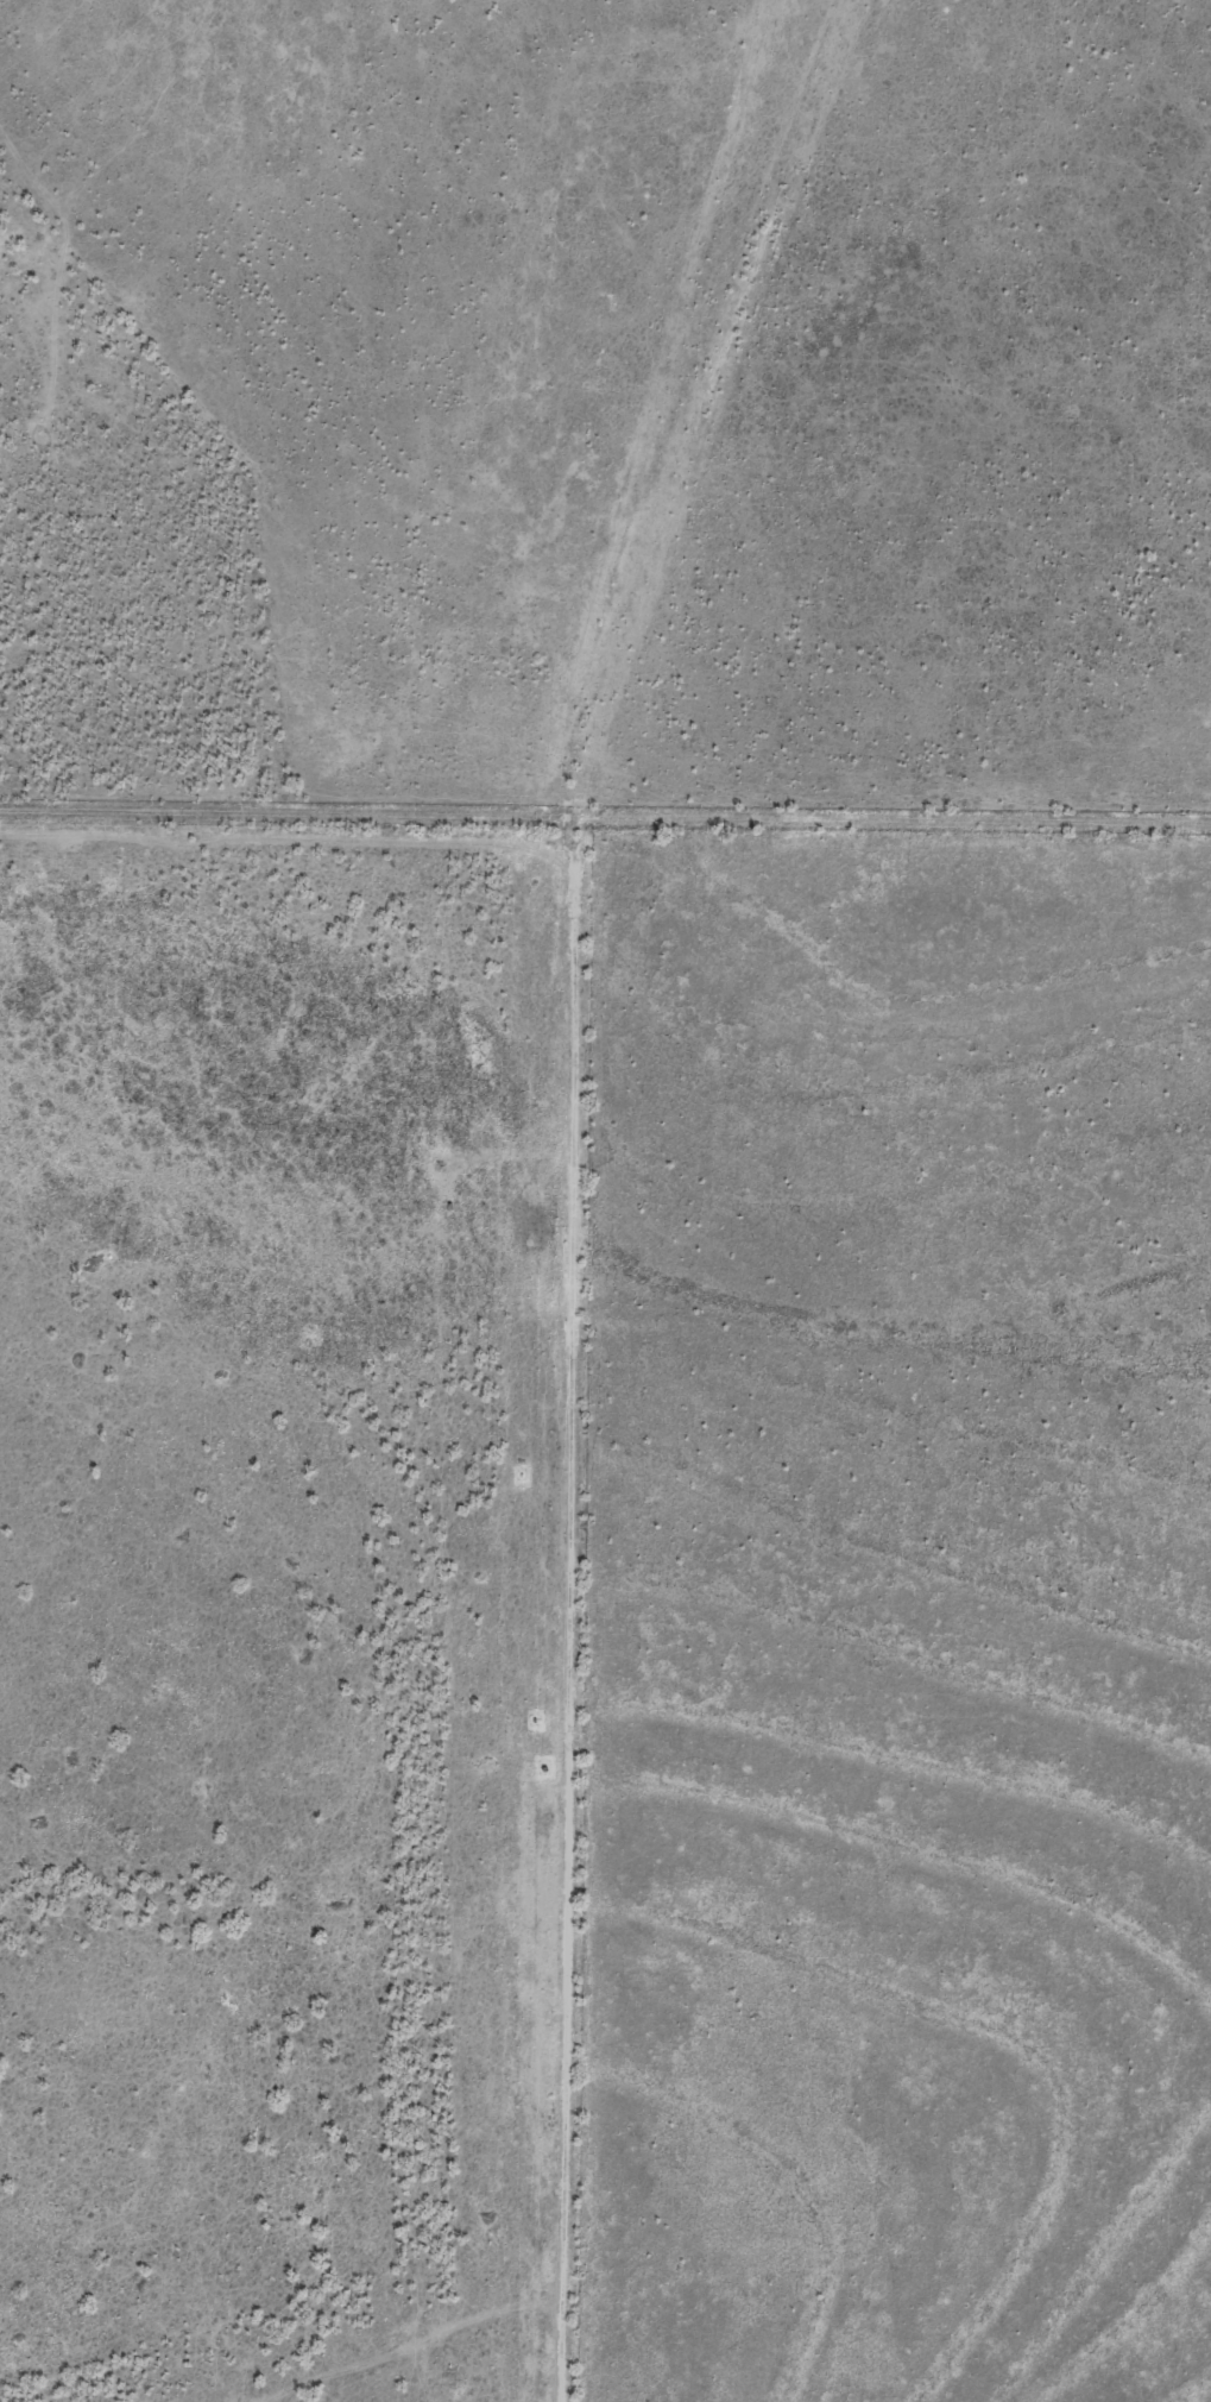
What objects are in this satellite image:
road: (605, 837)

